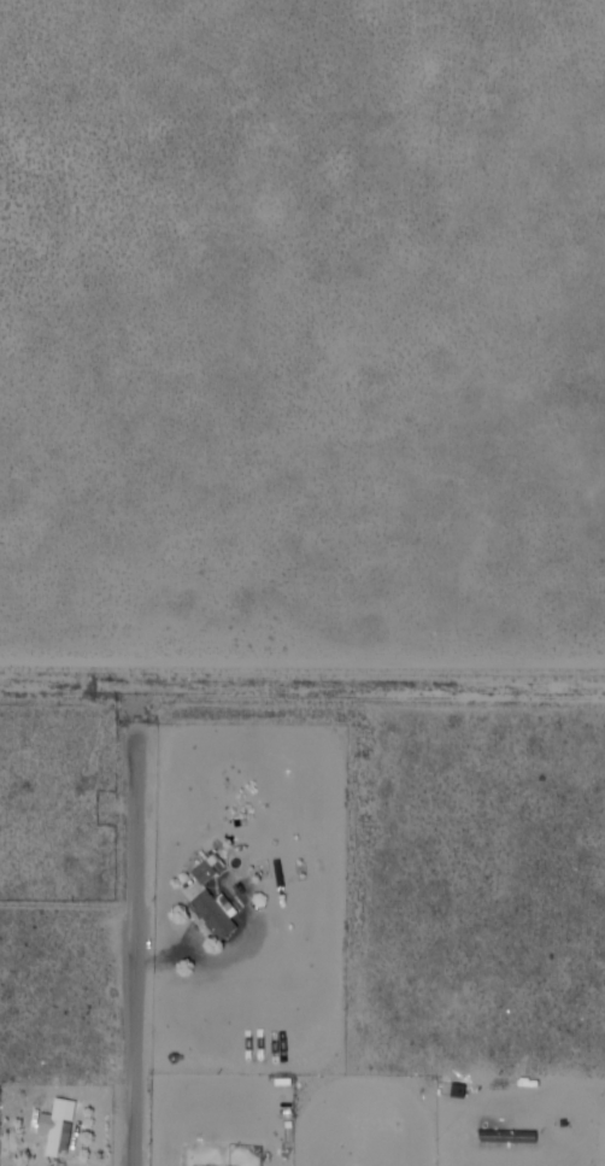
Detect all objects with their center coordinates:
building: (224, 912)
road: (136, 949)
building: (61, 1125)

